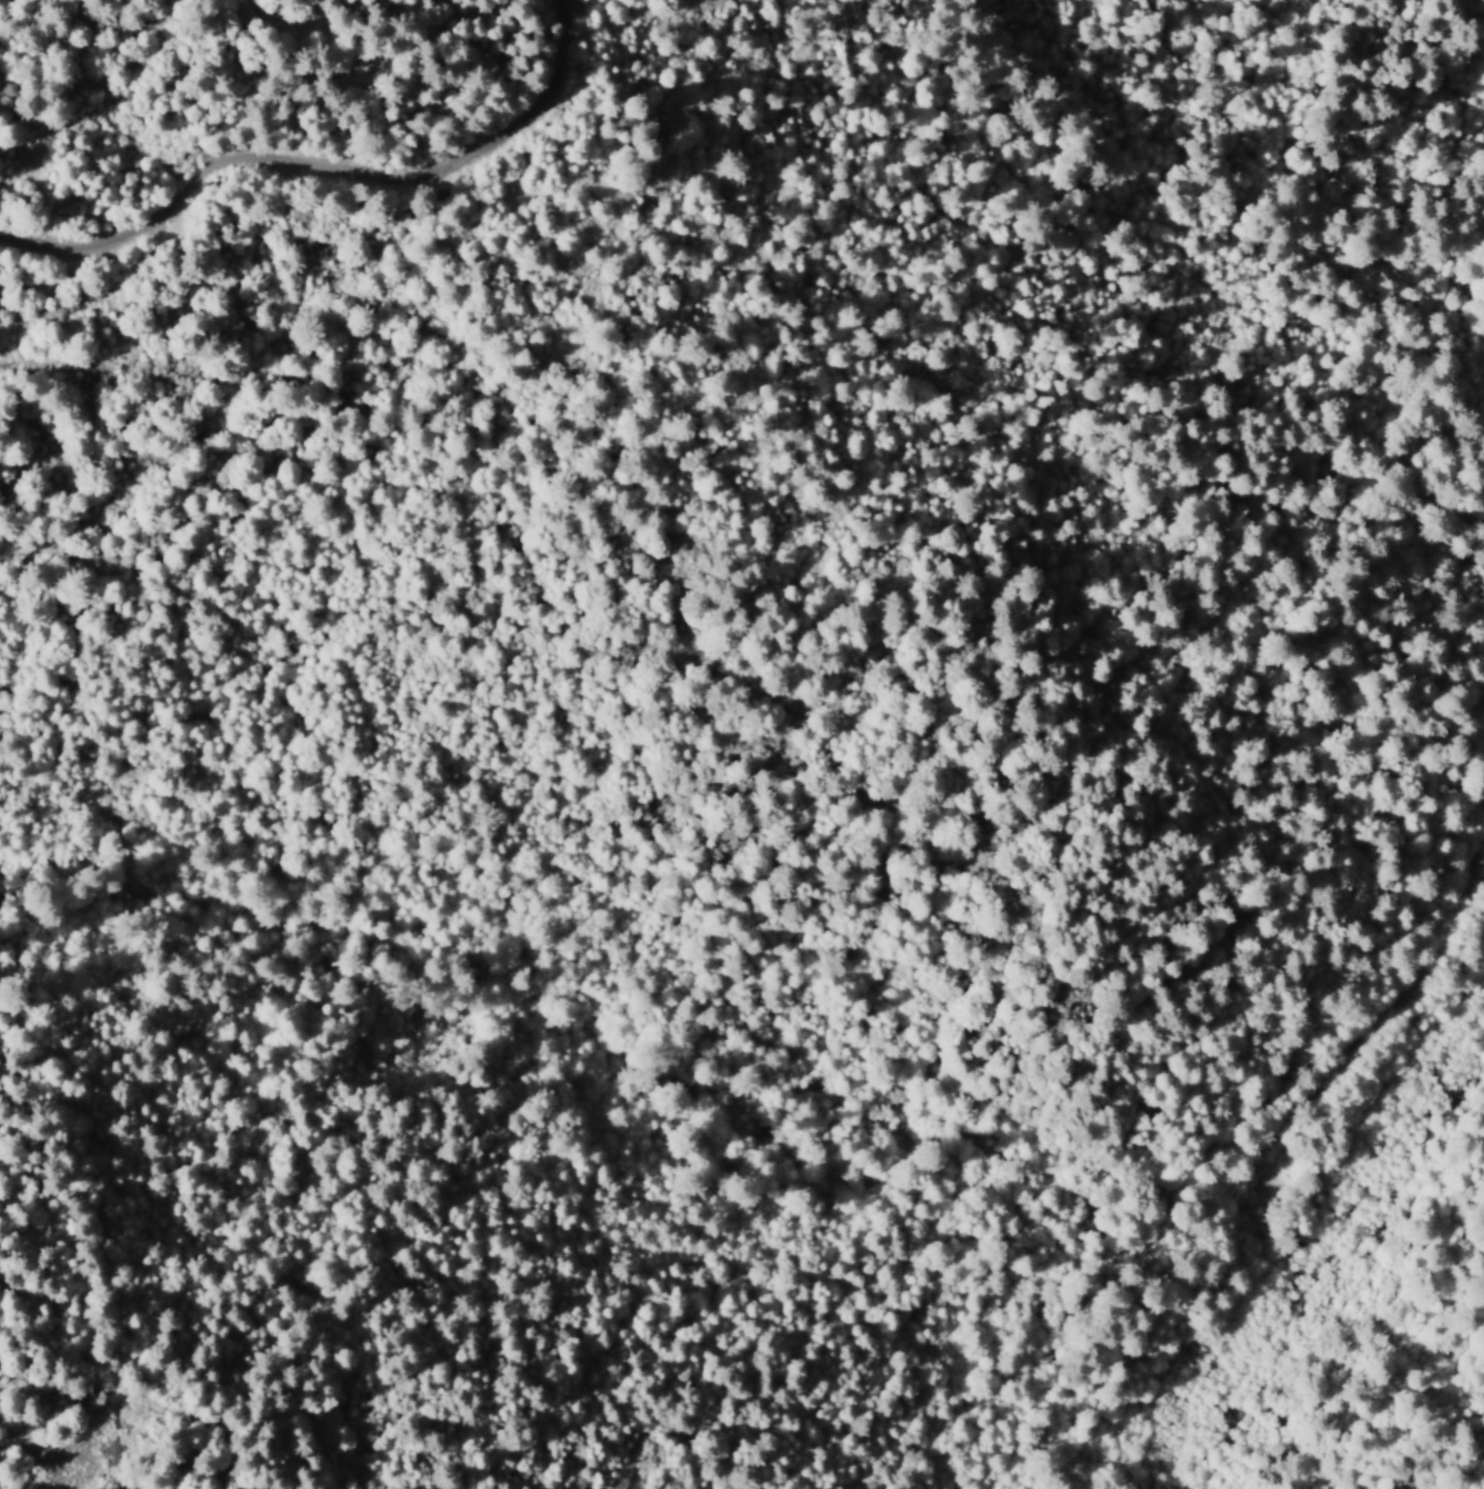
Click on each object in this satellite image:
road: (1335, 1101)

